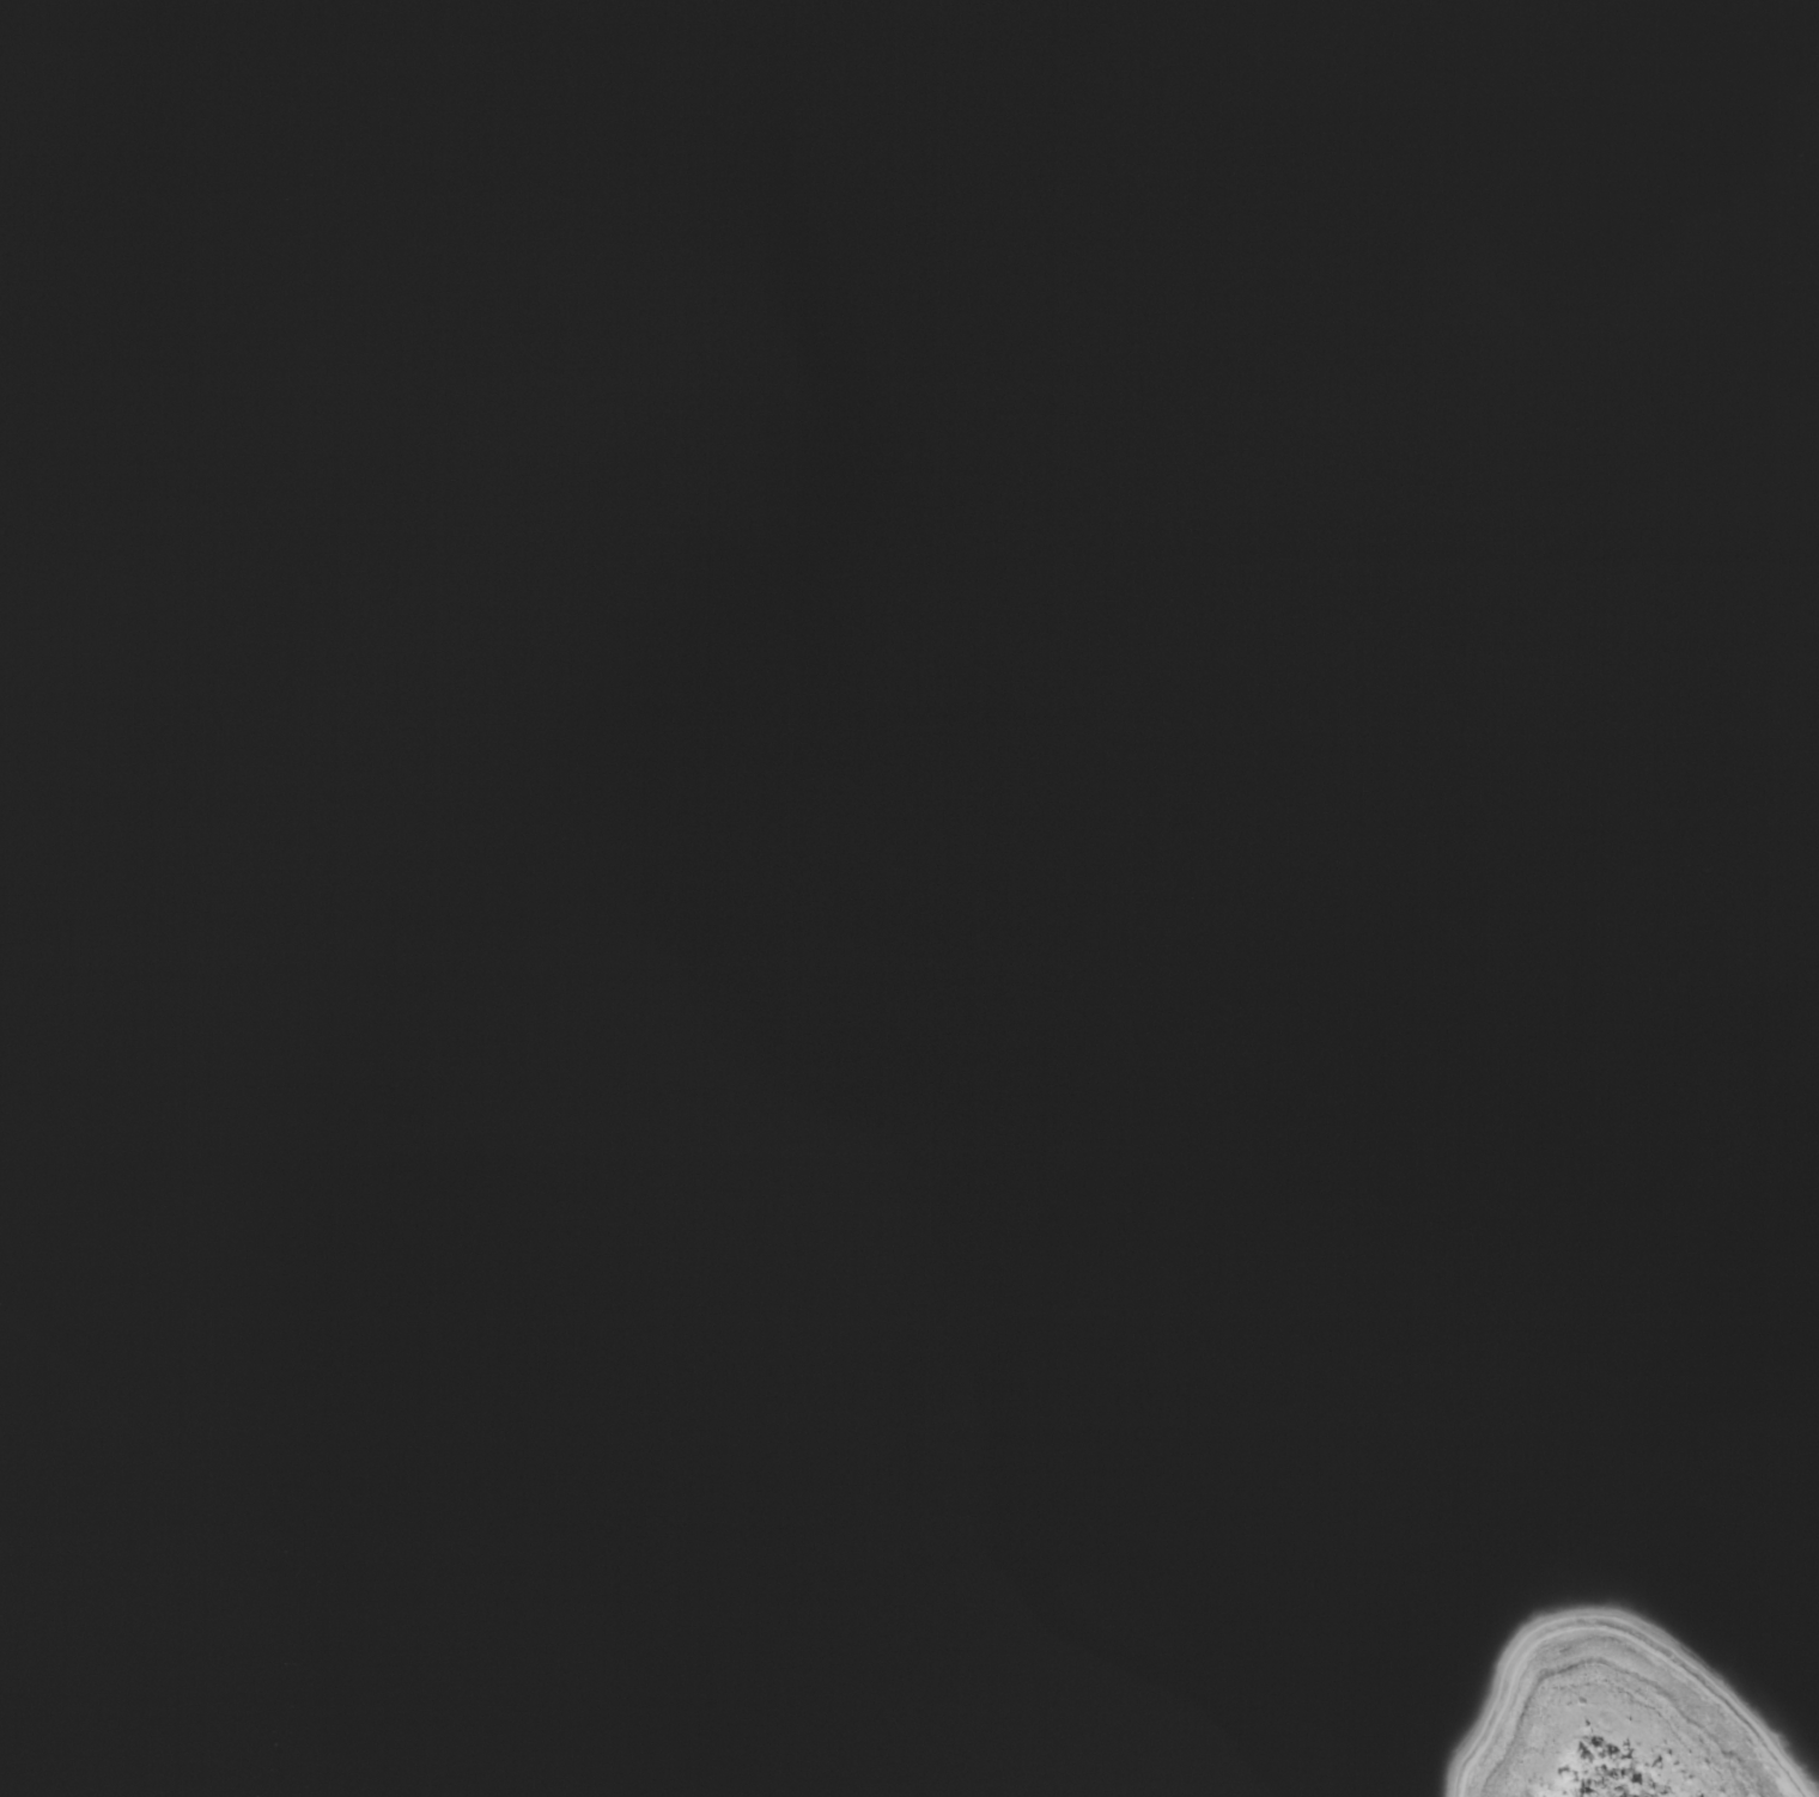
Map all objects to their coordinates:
building: (1152, 391)
building: (1175, 477)

